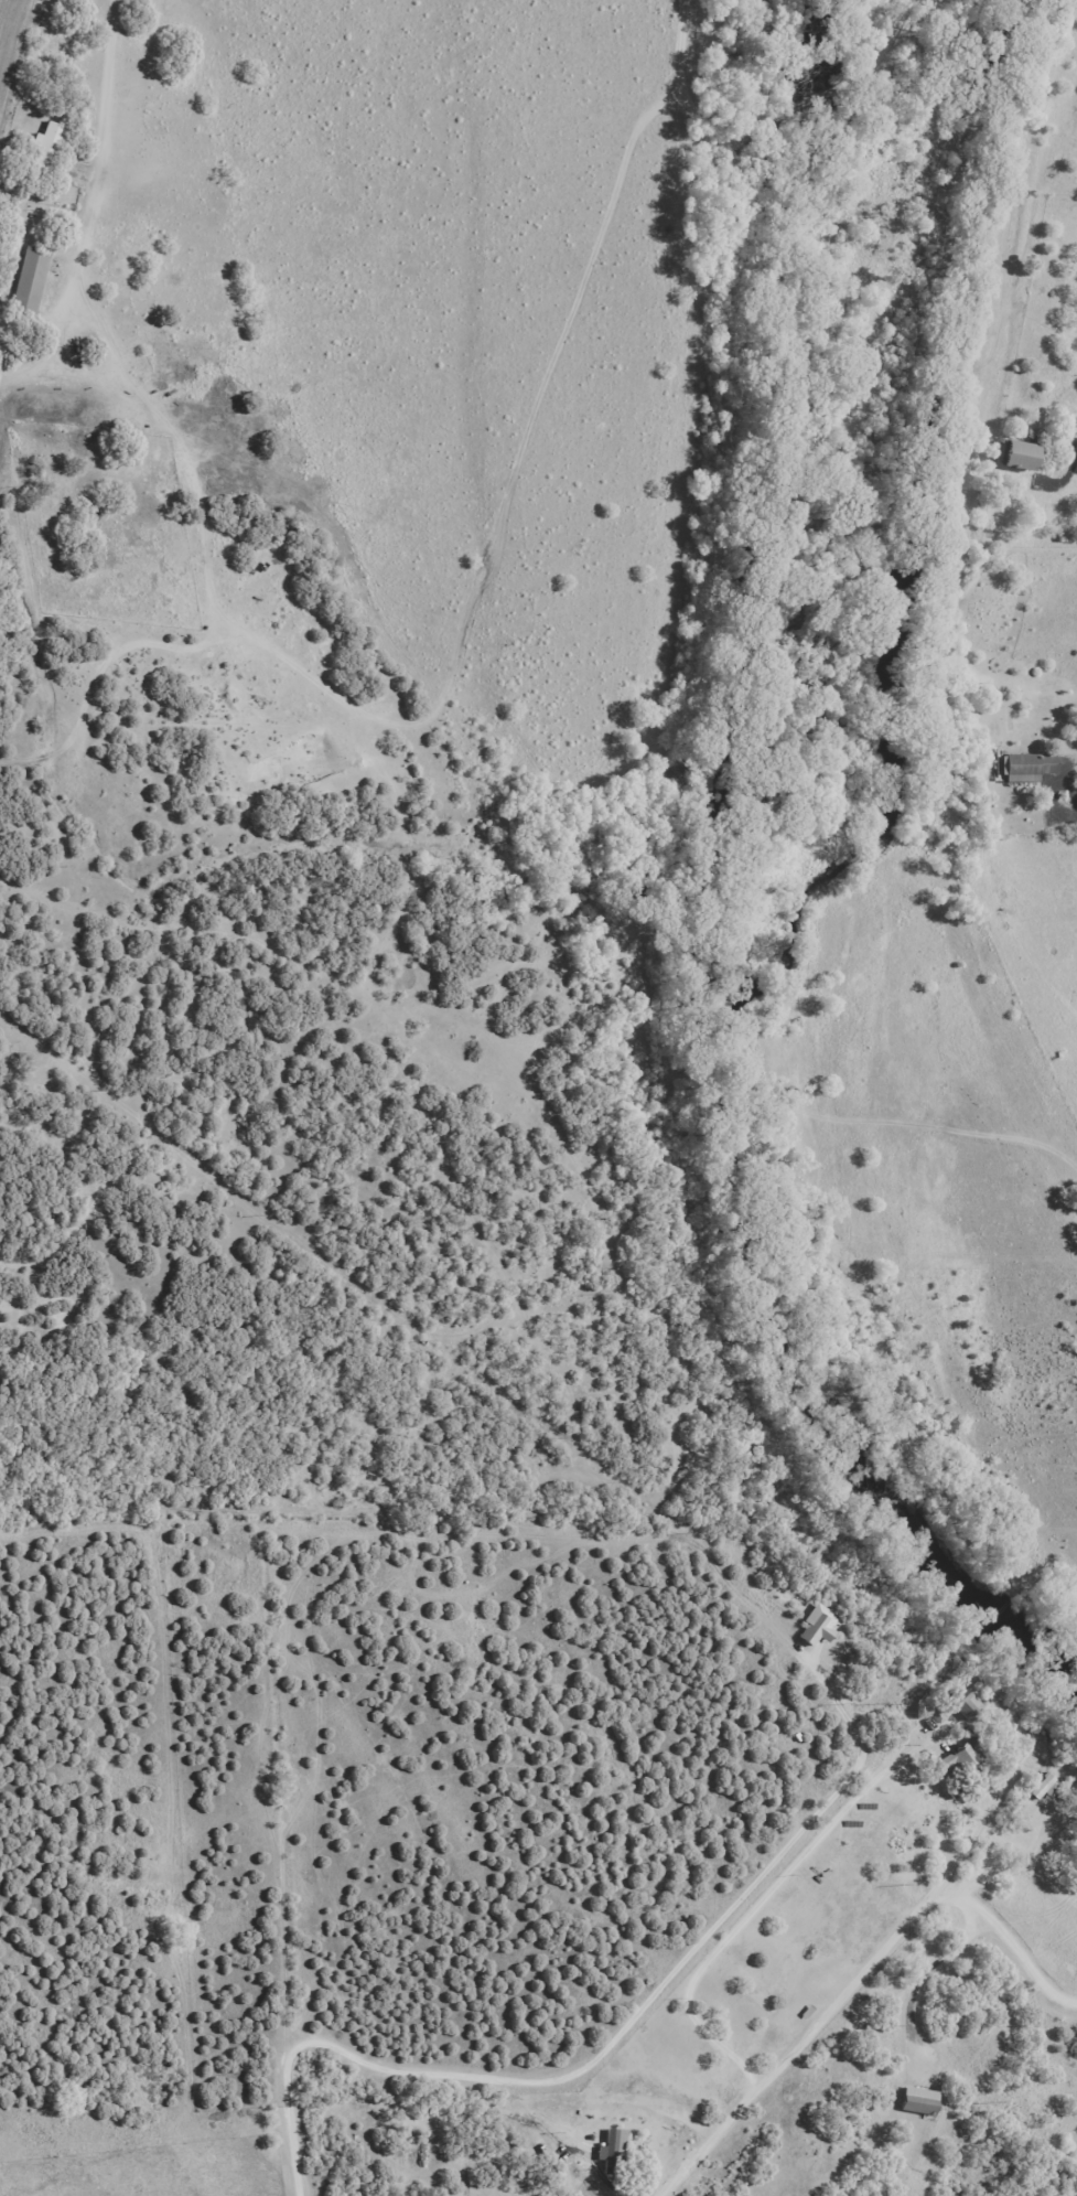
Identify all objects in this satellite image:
river: (870, 101)
building: (45, 148)
building: (30, 280)
building: (1022, 458)
river: (846, 486)
building: (1027, 763)
road: (963, 1135)
river: (801, 1370)
building: (816, 1626)
building: (966, 1756)
building: (1042, 1788)
road: (1051, 1803)
road: (1060, 1824)
road: (987, 1879)
road: (928, 1967)
road: (836, 2001)
road: (562, 2072)
building: (917, 2101)
building: (614, 2151)

